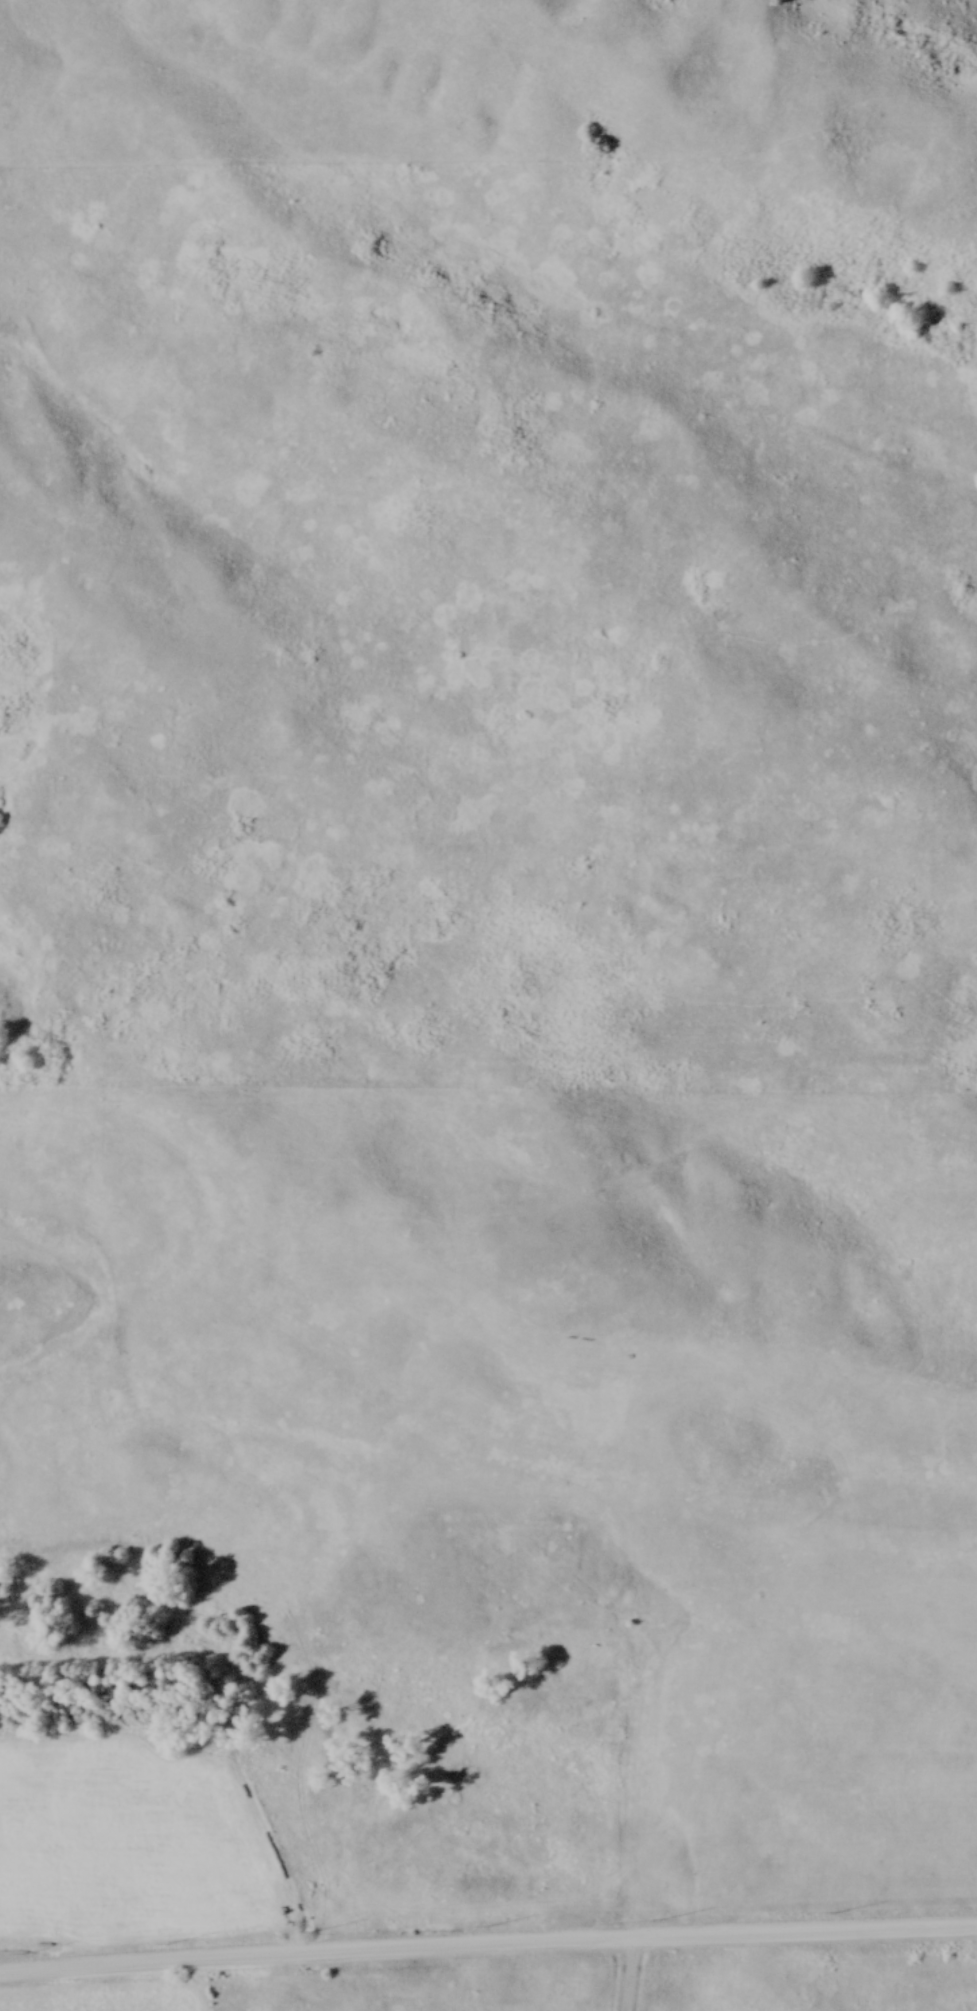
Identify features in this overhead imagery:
road: (488, 1952)

